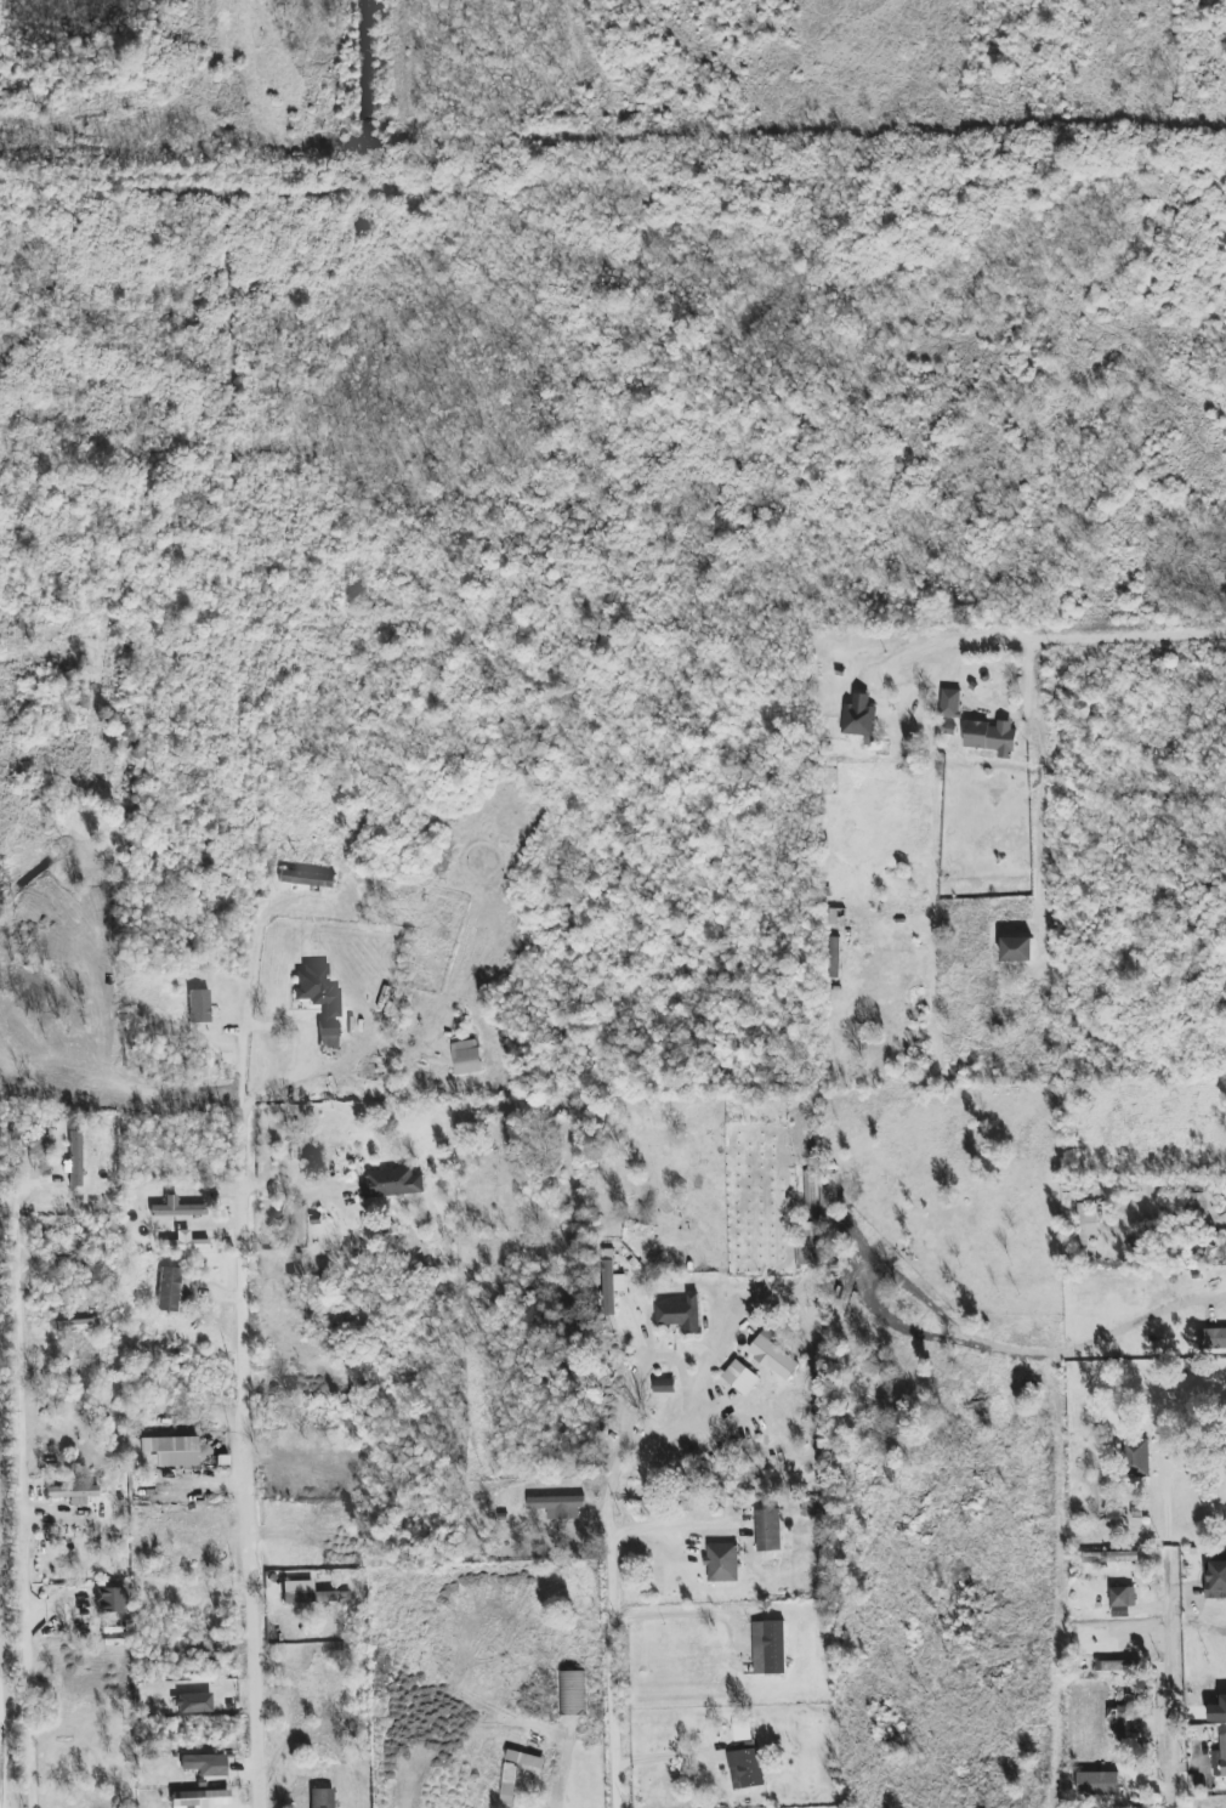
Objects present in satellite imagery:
road: (1068, 640)
building: (950, 703)
building: (859, 716)
building: (992, 737)
road: (530, 868)
building: (307, 878)
building: (836, 917)
building: (1017, 948)
building: (833, 957)
road: (249, 992)
building: (320, 999)
building: (199, 1005)
road: (301, 1055)
building: (466, 1058)
road: (609, 1096)
building: (75, 1158)
building: (393, 1183)
building: (176, 1208)
building: (1197, 1208)
building: (1086, 1225)
building: (185, 1242)
building: (810, 1245)
building: (608, 1282)
building: (169, 1290)
road: (1204, 1293)
building: (681, 1314)
building: (78, 1325)
building: (1213, 1338)
building: (772, 1355)
building: (740, 1377)
building: (664, 1385)
road: (687, 1387)
building: (171, 1450)
road: (248, 1458)
building: (1136, 1458)
road: (23, 1481)
building: (73, 1492)
building: (558, 1506)
building: (768, 1530)
building: (1109, 1557)
building: (722, 1563)
building: (1215, 1580)
road: (1066, 1594)
building: (310, 1597)
building: (1123, 1597)
building: (112, 1599)
road: (609, 1605)
road: (676, 1614)
building: (768, 1648)
road: (1182, 1672)
building: (1218, 1708)
building: (1123, 1715)
building: (526, 1758)
building: (1220, 1758)
building: (203, 1762)
building: (747, 1768)
road: (1, 1769)
building: (510, 1775)
road: (555, 1796)
building: (322, 1798)
building: (202, 1800)

